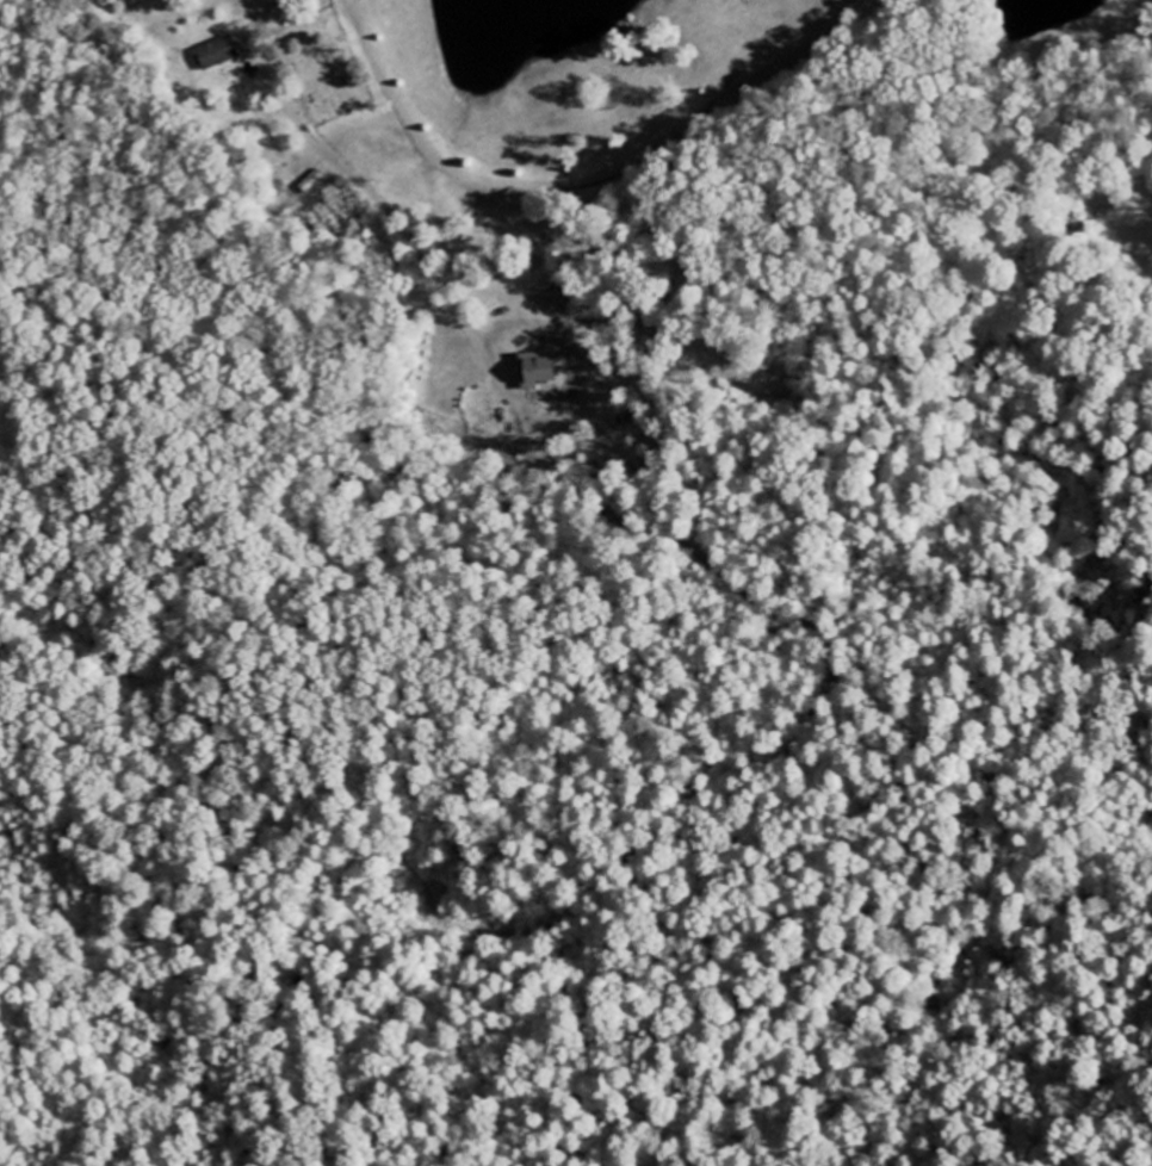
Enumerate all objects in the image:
building: (217, 52)
park: (322, 63)
road: (333, 163)
road: (547, 184)
building: (545, 364)

